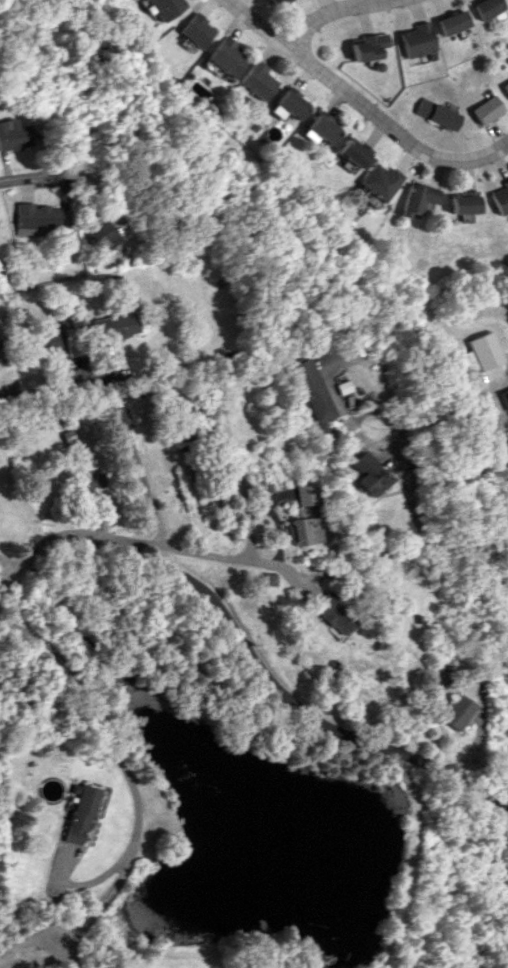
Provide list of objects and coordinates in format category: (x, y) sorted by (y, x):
building: (159, 8)
building: (484, 8)
road: (331, 17)
building: (448, 22)
building: (193, 30)
building: (412, 40)
building: (364, 46)
building: (223, 57)
building: (252, 82)
building: (505, 87)
building: (283, 105)
road: (363, 106)
building: (485, 109)
building: (435, 113)
building: (316, 128)
building: (14, 135)
building: (347, 153)
road: (87, 178)
road: (15, 181)
building: (375, 181)
building: (416, 197)
building: (499, 197)
building: (460, 202)
building: (38, 218)
building: (104, 236)
building: (114, 324)
building: (46, 338)
building: (483, 350)
road: (56, 365)
road: (335, 367)
building: (319, 404)
road: (488, 433)
building: (368, 475)
building: (90, 481)
road: (146, 493)
building: (305, 494)
road: (275, 515)
building: (302, 530)
road: (433, 542)
road: (183, 549)
road: (3, 563)
building: (331, 616)
road: (248, 650)
building: (454, 712)
road: (130, 778)
building: (51, 789)
building: (80, 814)
road: (86, 881)
road: (33, 945)

